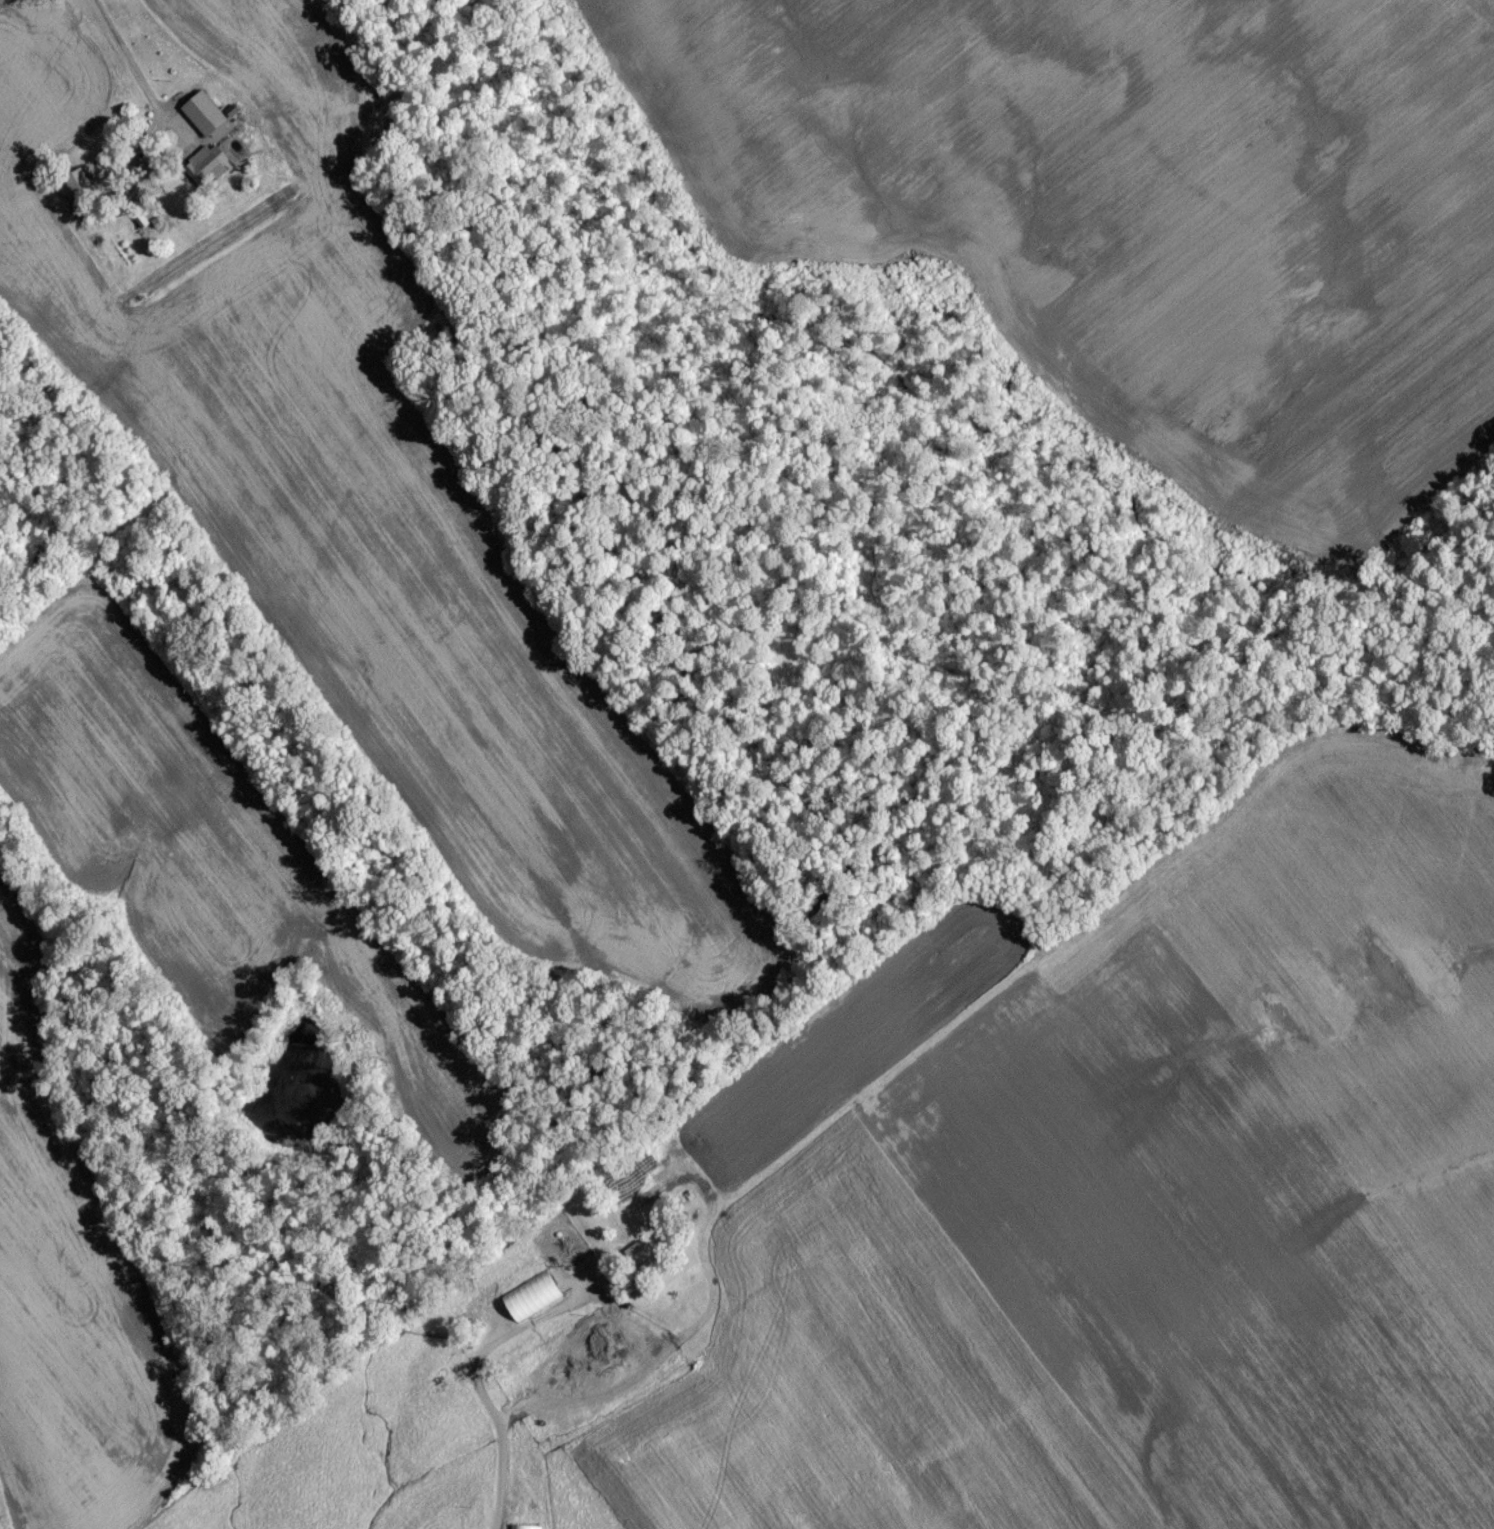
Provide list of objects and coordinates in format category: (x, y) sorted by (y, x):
road: (121, 56)
building: (215, 173)
building: (536, 1299)
road: (486, 1409)

